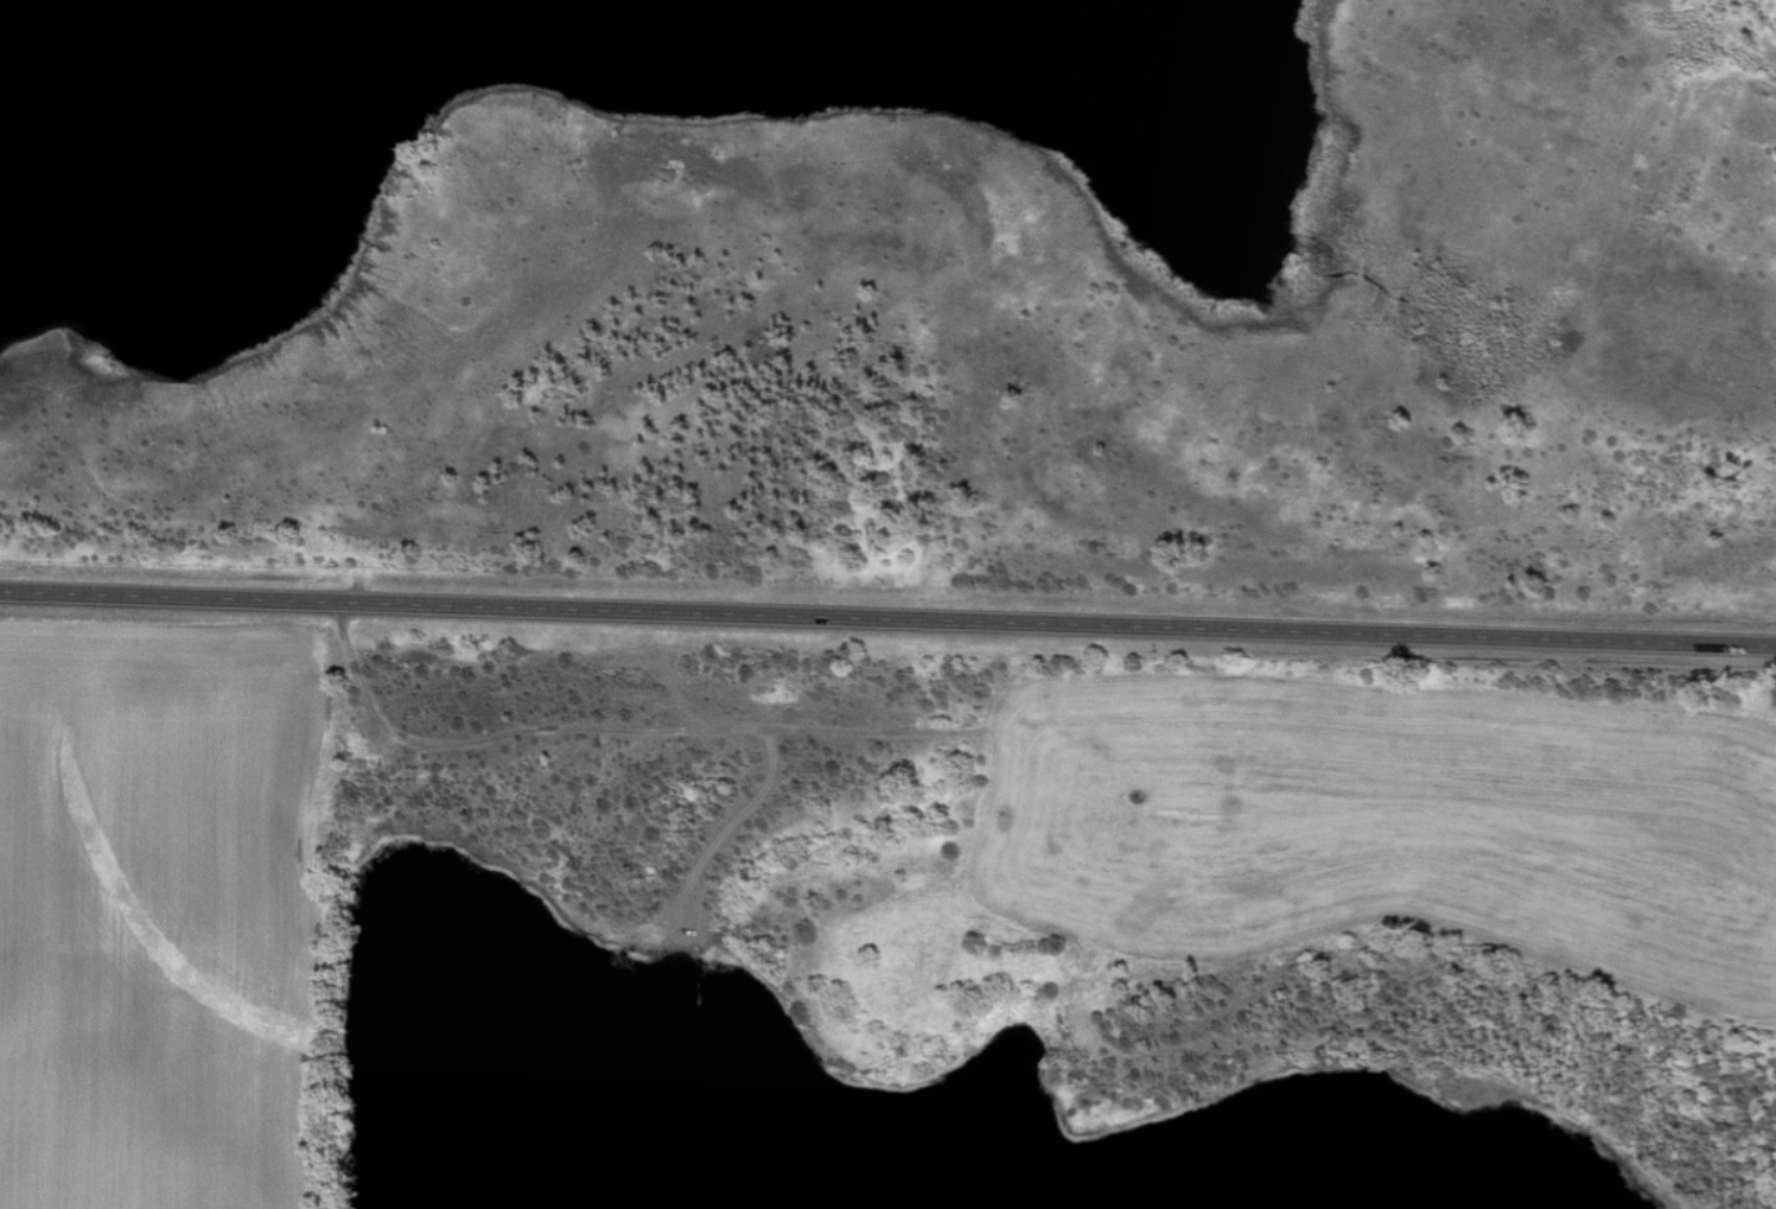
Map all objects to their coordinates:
road: (887, 618)

